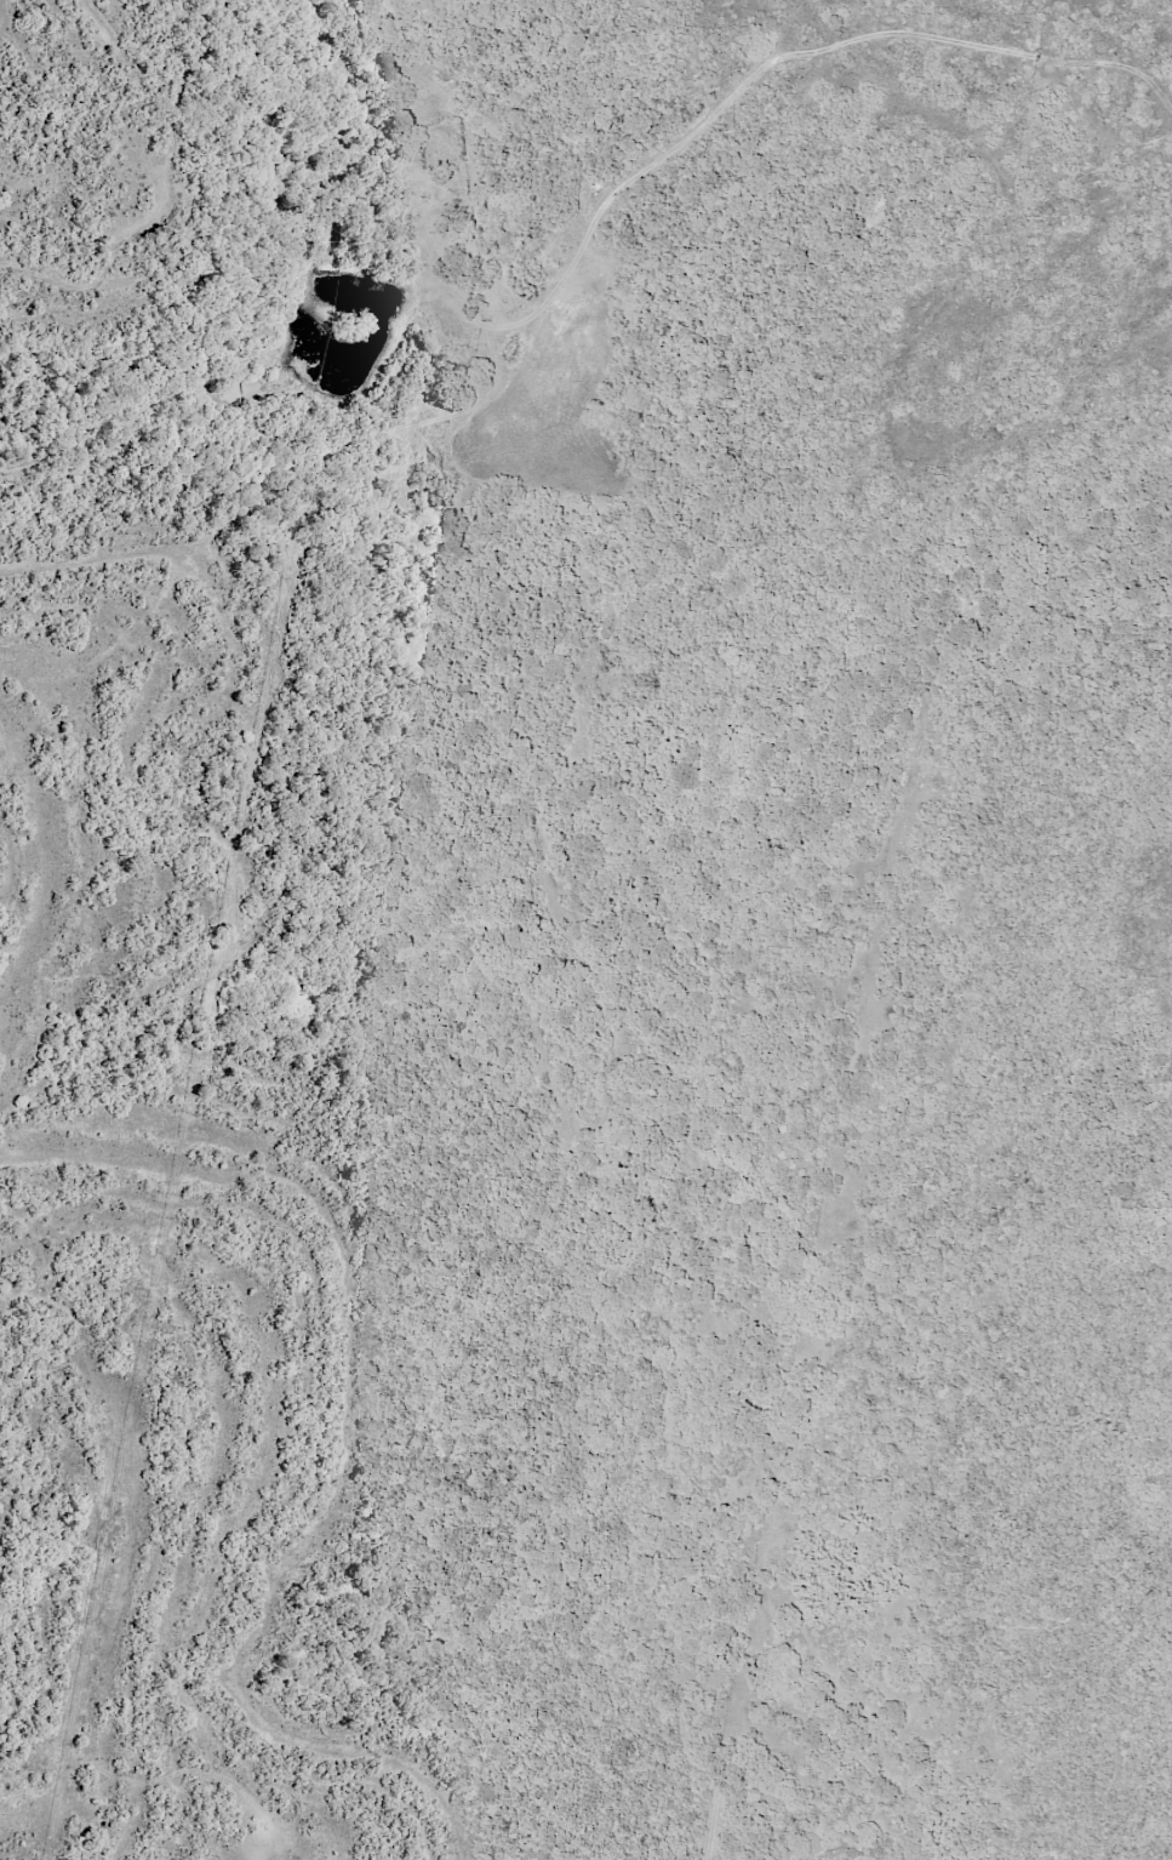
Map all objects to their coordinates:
road: (571, 245)
road: (607, 1208)

